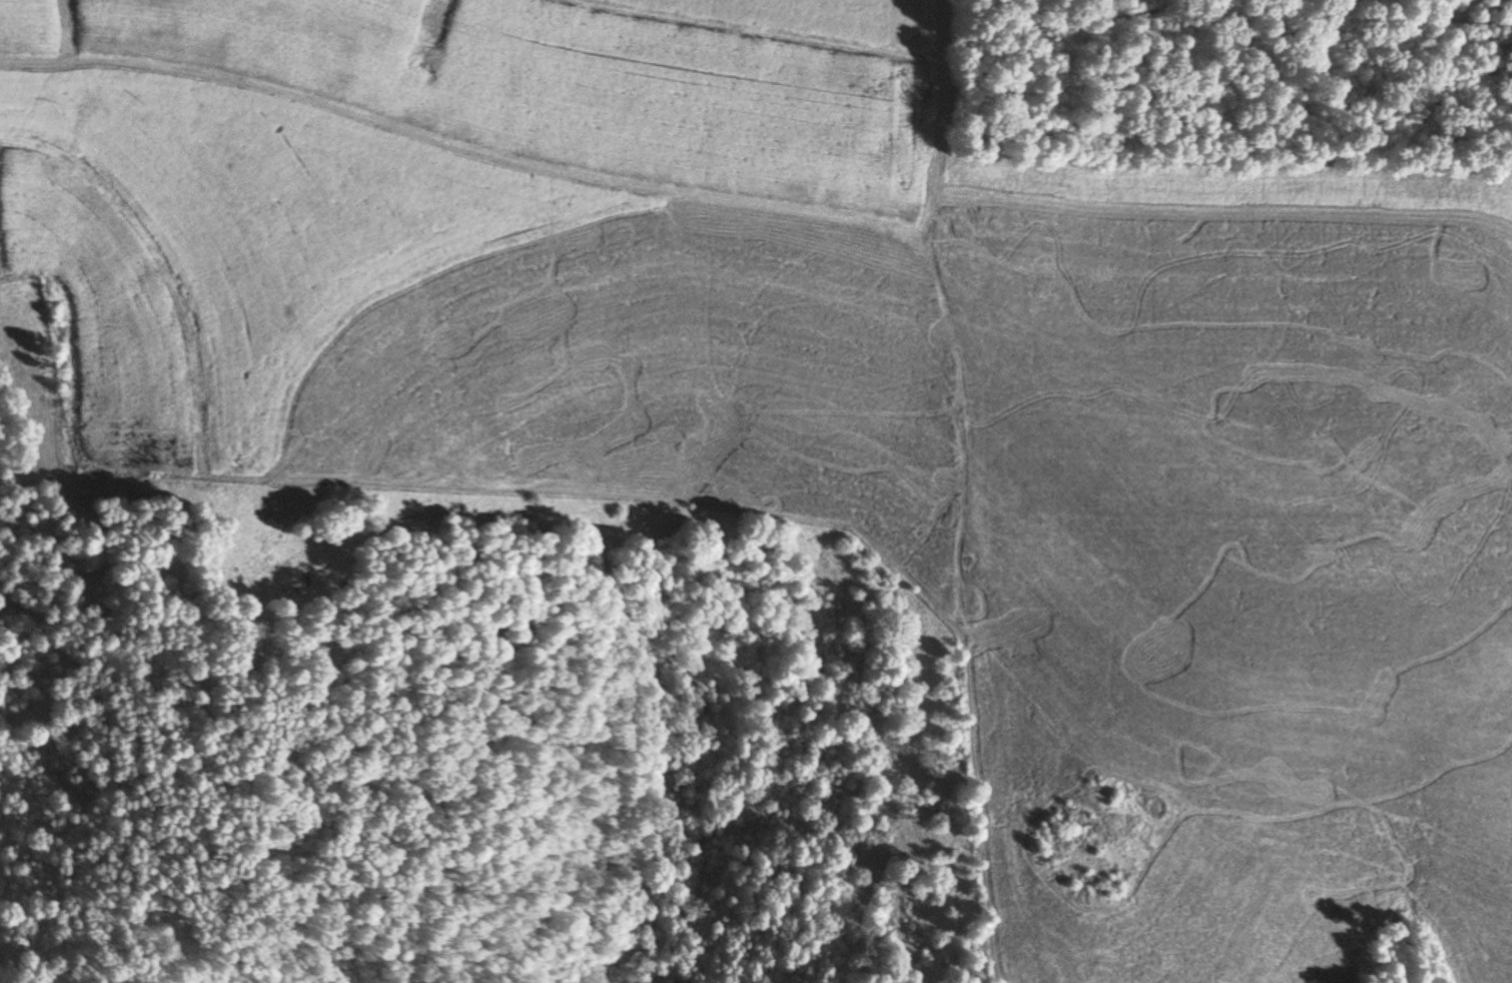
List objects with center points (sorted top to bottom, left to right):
crop: (28, 22)

